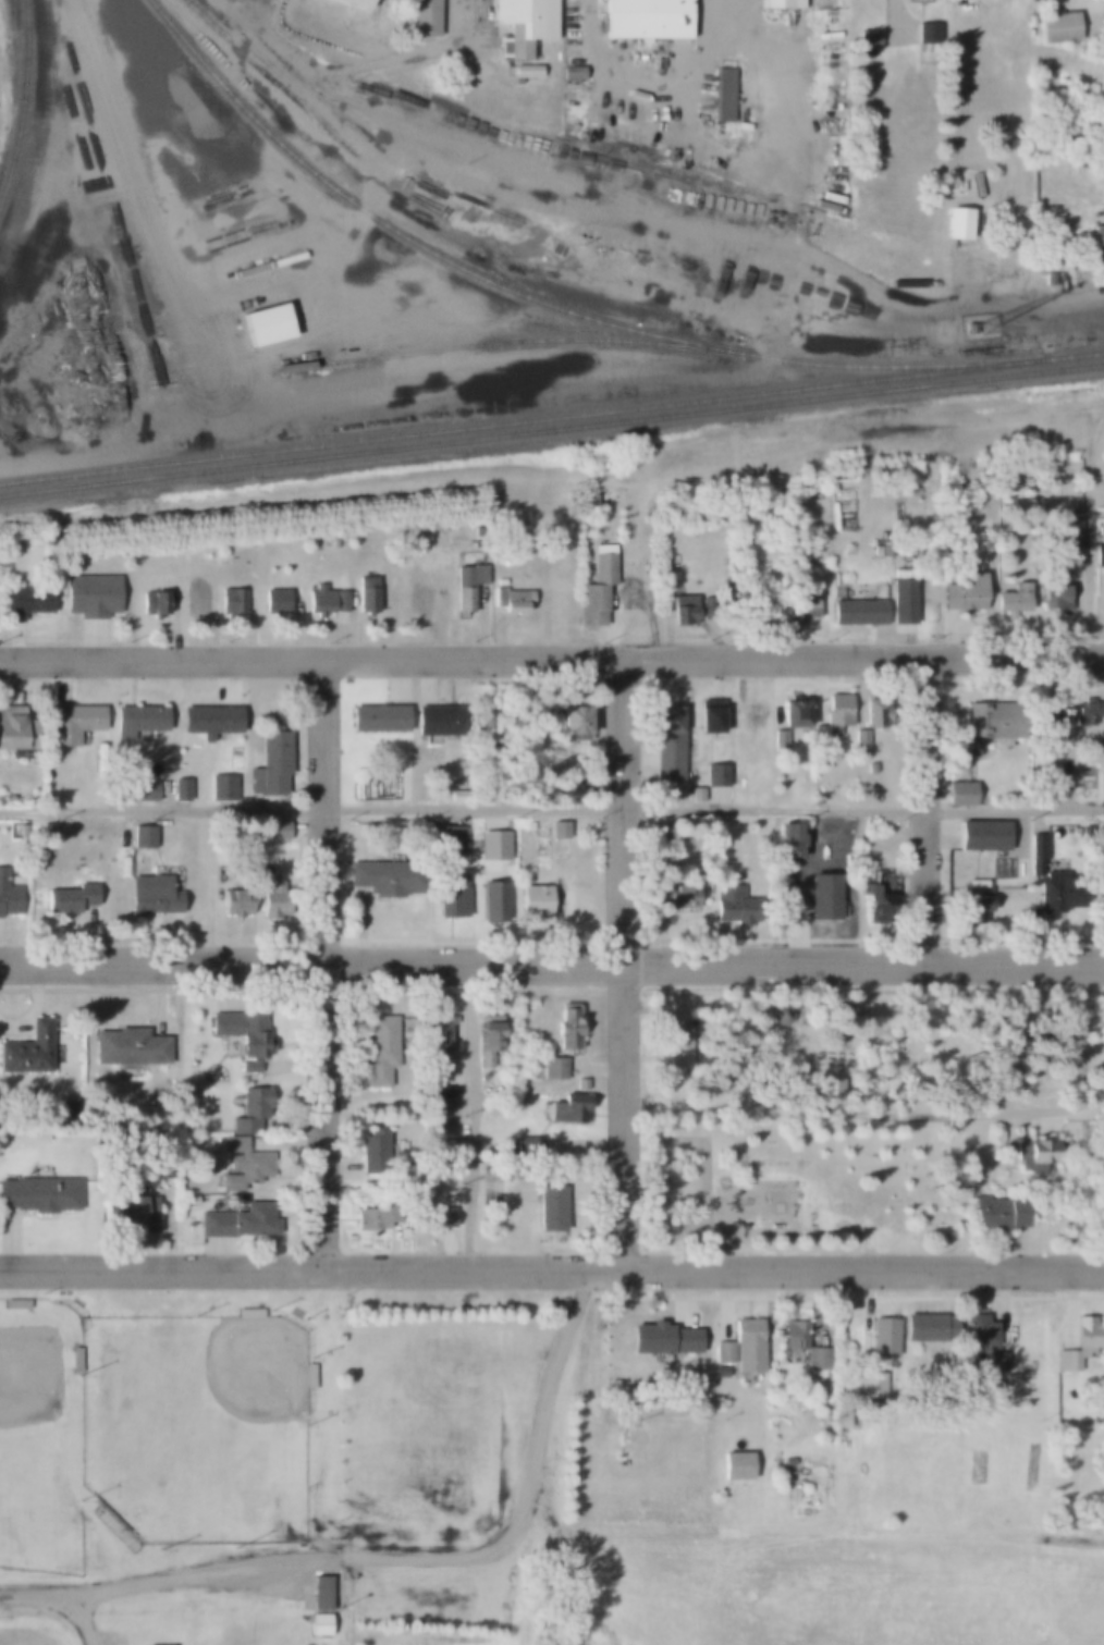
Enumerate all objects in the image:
building: (354, 3)
building: (781, 4)
road: (473, 12)
building: (424, 17)
building: (645, 19)
building: (522, 24)
building: (1056, 27)
building: (923, 33)
building: (867, 38)
road: (376, 59)
building: (525, 72)
building: (572, 73)
building: (723, 94)
railway: (26, 108)
road: (148, 214)
road: (629, 214)
building: (957, 223)
building: (1097, 236)
building: (133, 272)
building: (1048, 279)
railway: (541, 304)
building: (263, 326)
building: (970, 328)
railway: (514, 344)
railway: (552, 421)
railway: (551, 433)
building: (590, 501)
road: (1080, 532)
building: (1068, 541)
building: (876, 551)
building: (1099, 554)
building: (668, 576)
building: (466, 585)
building: (597, 587)
building: (1054, 590)
building: (964, 592)
building: (366, 594)
building: (89, 596)
building: (635, 597)
building: (1013, 599)
building: (194, 600)
building: (273, 600)
building: (511, 600)
building: (230, 601)
building: (318, 601)
building: (338, 601)
building: (1103, 601)
building: (24, 602)
building: (152, 603)
building: (806, 605)
building: (689, 611)
building: (856, 611)
road: (551, 654)
building: (792, 713)
building: (873, 713)
building: (1084, 713)
building: (835, 714)
building: (708, 716)
building: (757, 716)
building: (378, 719)
building: (210, 720)
building: (438, 720)
building: (136, 721)
building: (476, 721)
building: (73, 722)
building: (573, 723)
building: (986, 724)
building: (14, 728)
building: (1051, 728)
building: (817, 734)
building: (859, 740)
building: (780, 741)
building: (666, 745)
building: (270, 763)
building: (870, 768)
building: (715, 774)
building: (1102, 781)
building: (222, 788)
building: (181, 789)
building: (134, 790)
building: (574, 790)
building: (736, 791)
building: (960, 793)
building: (581, 794)
building: (696, 795)
building: (456, 796)
road: (551, 803)
road: (933, 808)
building: (528, 825)
building: (1101, 828)
building: (277, 830)
building: (557, 830)
building: (658, 831)
building: (982, 835)
building: (142, 837)
building: (788, 839)
building: (449, 842)
building: (492, 846)
building: (1036, 852)
storage tank: (1020, 869)
building: (383, 876)
building: (1056, 893)
building: (151, 895)
building: (675, 896)
building: (812, 896)
building: (9, 897)
building: (451, 898)
building: (879, 898)
building: (273, 900)
building: (533, 900)
building: (976, 900)
building: (68, 901)
building: (236, 901)
building: (492, 904)
building: (731, 904)
road: (551, 959)
road: (323, 960)
road: (624, 961)
building: (778, 1017)
building: (565, 1028)
building: (243, 1035)
building: (437, 1036)
building: (488, 1042)
building: (127, 1047)
building: (27, 1049)
building: (379, 1051)
building: (679, 1051)
building: (551, 1069)
building: (579, 1084)
building: (434, 1095)
park: (842, 1105)
building: (565, 1108)
building: (248, 1113)
road: (478, 1114)
road: (942, 1119)
storage tank: (217, 1142)
building: (232, 1143)
building: (371, 1152)
building: (1035, 1152)
building: (245, 1168)
building: (39, 1195)
building: (187, 1200)
building: (549, 1208)
building: (134, 1211)
building: (997, 1213)
building: (378, 1215)
building: (434, 1217)
building: (237, 1222)
road: (551, 1269)
building: (922, 1328)
building: (979, 1333)
building: (792, 1335)
building: (882, 1337)
building: (661, 1340)
building: (1078, 1343)
building: (740, 1347)
building: (817, 1358)
building: (995, 1363)
building: (719, 1372)
building: (871, 1385)
building: (874, 1399)
building: (844, 1420)
park: (200, 1431)
park: (41, 1441)
building: (735, 1465)
road: (398, 1554)
road: (567, 1554)
building: (319, 1594)
road: (88, 1617)
building: (318, 1624)
park: (32, 1637)

